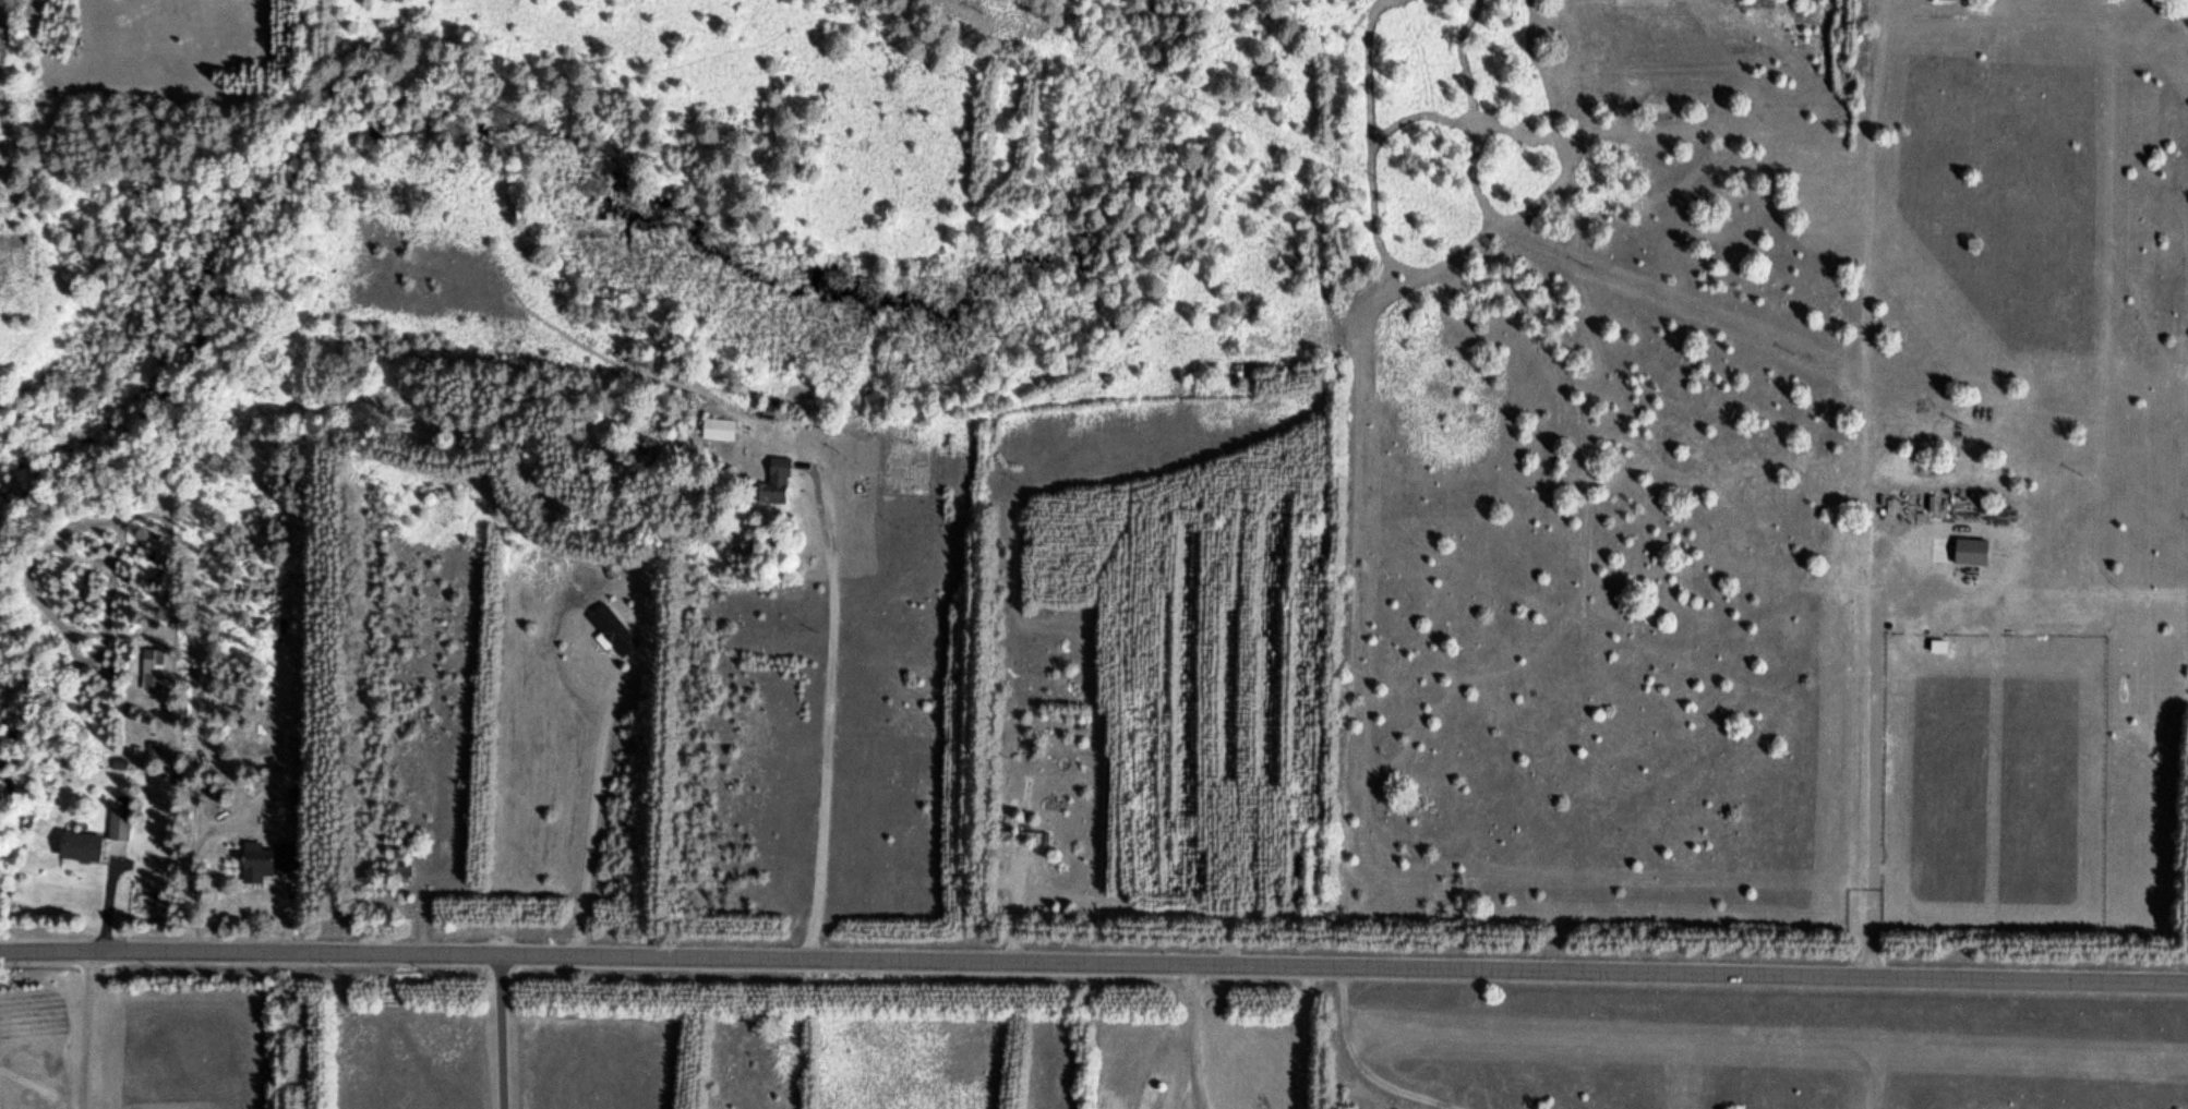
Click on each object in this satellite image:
railway: (1, 7)
building: (640, 357)
building: (718, 426)
building: (772, 481)
building: (1970, 549)
building: (611, 628)
building: (1938, 643)
building: (148, 675)
road: (810, 732)
building: (118, 821)
building: (1023, 834)
building: (81, 845)
building: (256, 860)
road: (1094, 962)

